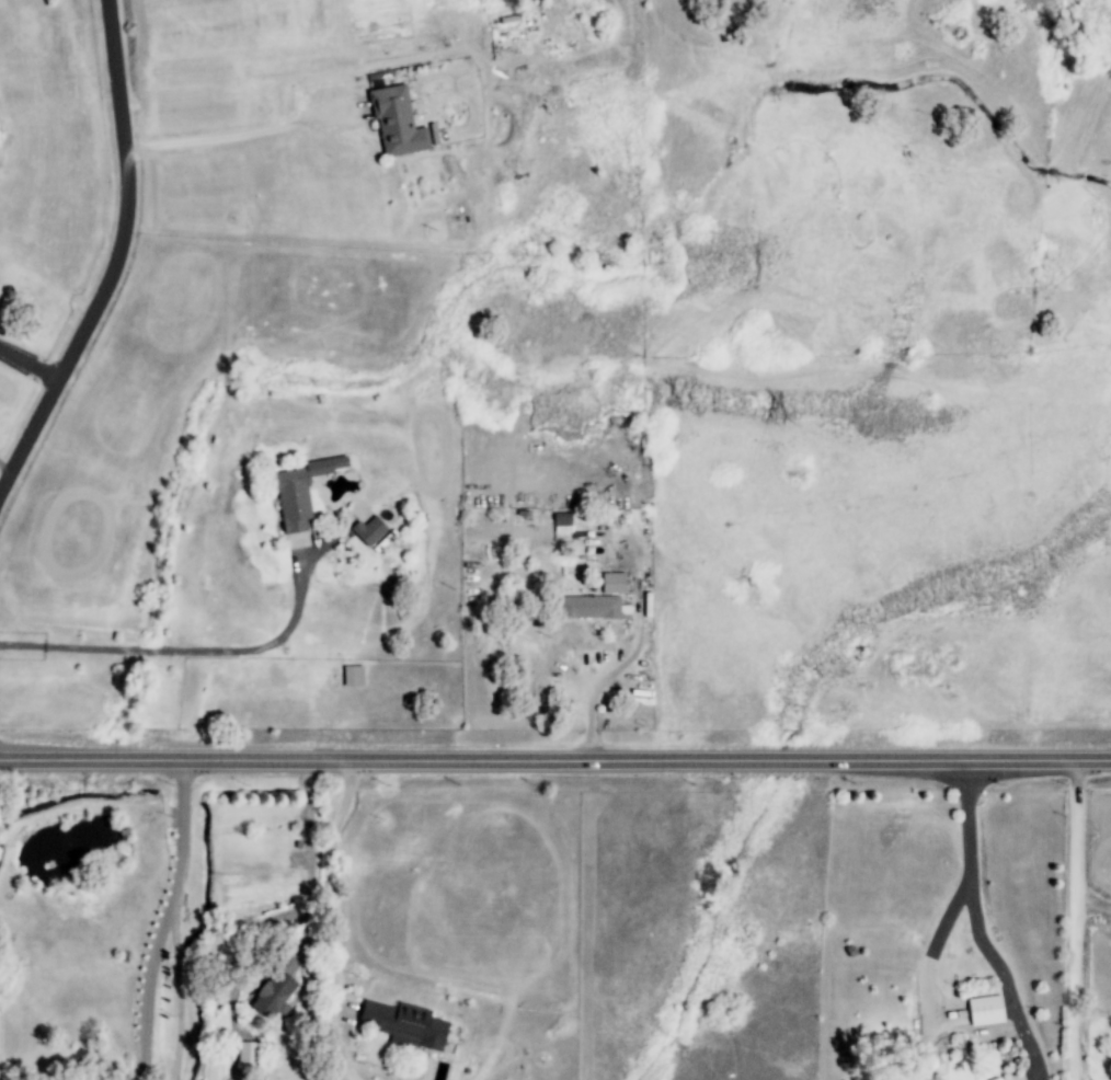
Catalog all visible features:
building: (397, 123)
road: (229, 139)
road: (115, 257)
road: (30, 361)
road: (5, 463)
building: (300, 492)
building: (561, 519)
building: (368, 531)
building: (612, 584)
building: (591, 607)
road: (187, 653)
road: (630, 660)
building: (353, 676)
road: (554, 762)
road: (961, 896)
road: (295, 914)
road: (333, 919)
road: (164, 920)
road: (1077, 921)
road: (1007, 979)
building: (276, 989)
road: (175, 990)
building: (985, 1011)
building: (404, 1025)
building: (247, 1054)

